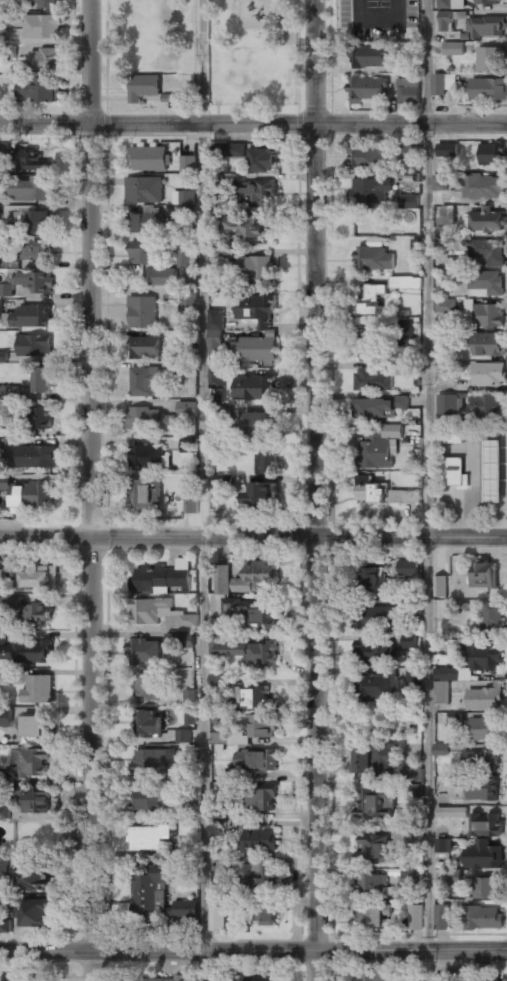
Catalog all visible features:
building: (488, 2)
building: (49, 4)
building: (360, 4)
building: (450, 4)
building: (450, 18)
building: (362, 24)
building: (41, 26)
building: (486, 27)
building: (1, 35)
park: (253, 49)
building: (448, 49)
building: (7, 51)
building: (368, 58)
building: (487, 60)
building: (43, 61)
building: (441, 85)
building: (143, 87)
building: (366, 89)
building: (488, 89)
building: (39, 91)
building: (407, 93)
road: (253, 128)
building: (447, 149)
building: (229, 150)
building: (492, 154)
building: (406, 155)
building: (25, 157)
building: (365, 158)
building: (150, 159)
building: (263, 160)
building: (188, 164)
building: (440, 182)
building: (482, 186)
building: (144, 189)
building: (30, 190)
building: (368, 191)
building: (258, 192)
building: (184, 197)
building: (440, 197)
building: (409, 201)
building: (183, 212)
building: (0, 213)
building: (448, 214)
building: (145, 221)
building: (485, 221)
building: (33, 223)
building: (248, 223)
building: (34, 251)
building: (142, 252)
building: (487, 252)
building: (183, 258)
building: (374, 259)
building: (4, 260)
building: (254, 268)
road: (425, 269)
building: (164, 278)
building: (32, 281)
building: (406, 283)
building: (486, 284)
building: (6, 289)
building: (373, 300)
building: (189, 301)
building: (446, 307)
building: (0, 308)
building: (256, 310)
building: (141, 313)
building: (29, 315)
building: (487, 315)
building: (215, 331)
building: (384, 337)
building: (34, 345)
building: (489, 345)
building: (145, 348)
building: (255, 349)
building: (408, 368)
building: (489, 375)
building: (216, 378)
building: (376, 379)
building: (43, 381)
building: (143, 382)
building: (255, 388)
building: (9, 391)
building: (448, 404)
building: (488, 407)
building: (381, 408)
building: (187, 409)
building: (40, 418)
building: (149, 420)
building: (258, 424)
building: (455, 436)
building: (188, 445)
building: (0, 450)
building: (374, 452)
building: (36, 457)
building: (147, 457)
building: (265, 461)
building: (493, 461)
building: (453, 472)
building: (5, 482)
building: (224, 482)
road: (94, 490)
road: (204, 490)
road: (315, 490)
building: (370, 491)
building: (147, 495)
building: (261, 495)
building: (31, 497)
building: (191, 504)
road: (253, 536)
building: (407, 568)
building: (483, 575)
building: (39, 577)
building: (373, 577)
building: (255, 578)
building: (161, 579)
building: (3, 580)
building: (439, 587)
building: (148, 611)
building: (38, 613)
building: (258, 615)
building: (376, 616)
building: (492, 618)
building: (187, 620)
building: (2, 637)
building: (180, 638)
building: (409, 640)
building: (453, 649)
building: (378, 651)
building: (31, 652)
building: (143, 652)
building: (253, 653)
building: (486, 657)
building: (446, 673)
building: (5, 677)
building: (413, 679)
building: (147, 686)
building: (377, 687)
building: (37, 690)
building: (441, 692)
building: (189, 697)
building: (253, 698)
building: (483, 700)
building: (190, 716)
building: (5, 717)
building: (149, 724)
building: (262, 725)
building: (33, 727)
building: (483, 730)
building: (183, 736)
building: (229, 738)
building: (441, 749)
building: (256, 759)
road: (427, 759)
building: (375, 760)
building: (149, 761)
building: (481, 763)
building: (34, 764)
building: (231, 774)
building: (3, 775)
building: (413, 778)
building: (482, 791)
building: (263, 798)
building: (33, 799)
building: (148, 799)
building: (379, 802)
building: (185, 810)
building: (4, 812)
building: (452, 812)
building: (217, 828)
building: (150, 837)
building: (258, 841)
building: (484, 842)
building: (443, 846)
building: (374, 850)
building: (3, 866)
building: (259, 876)
building: (35, 877)
building: (411, 877)
building: (450, 878)
building: (371, 886)
building: (484, 889)
building: (149, 890)
building: (186, 908)
building: (35, 911)
building: (266, 912)
building: (371, 916)
building: (217, 917)
building: (441, 917)
building: (415, 918)
building: (483, 918)
building: (5, 925)
road: (253, 951)
building: (451, 975)
building: (218, 977)
building: (1, 978)
building: (258, 978)
building: (373, 978)
building: (27, 979)
building: (157, 979)
building: (483, 980)

